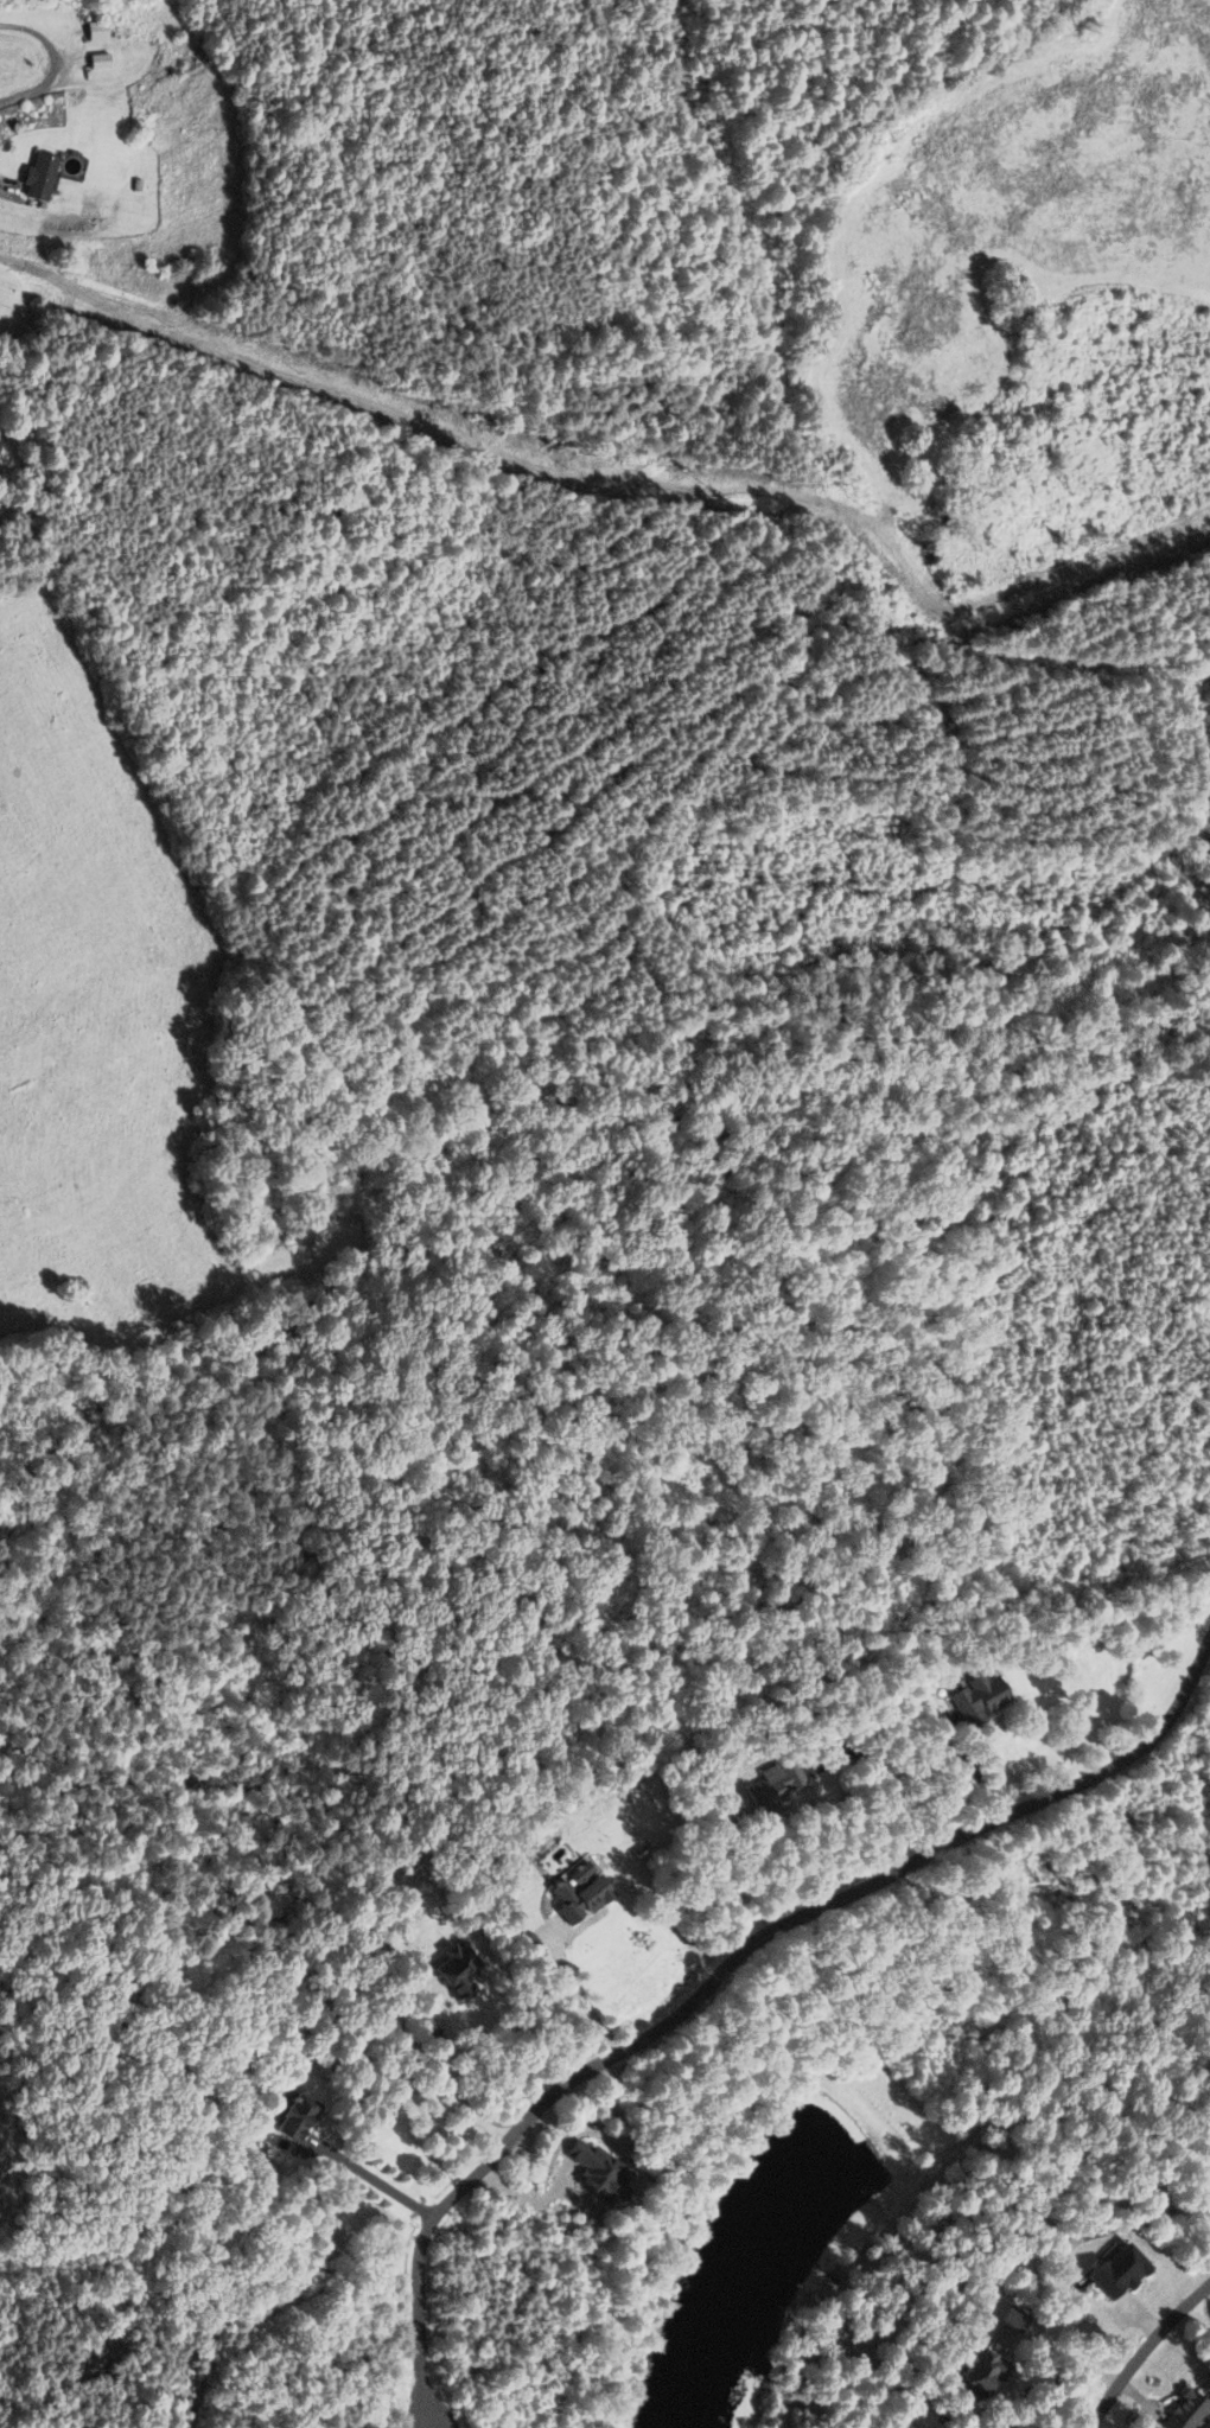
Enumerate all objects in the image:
building: (90, 31)
road: (50, 62)
building: (94, 62)
building: (33, 177)
road: (9, 183)
building: (975, 1699)
building: (768, 1783)
building: (572, 1893)
road: (725, 1968)
building: (448, 1970)
road: (457, 2080)
building: (288, 2117)
road: (377, 2181)
building: (1109, 2271)
road: (1144, 2351)
building: (973, 2372)
building: (1177, 2410)

